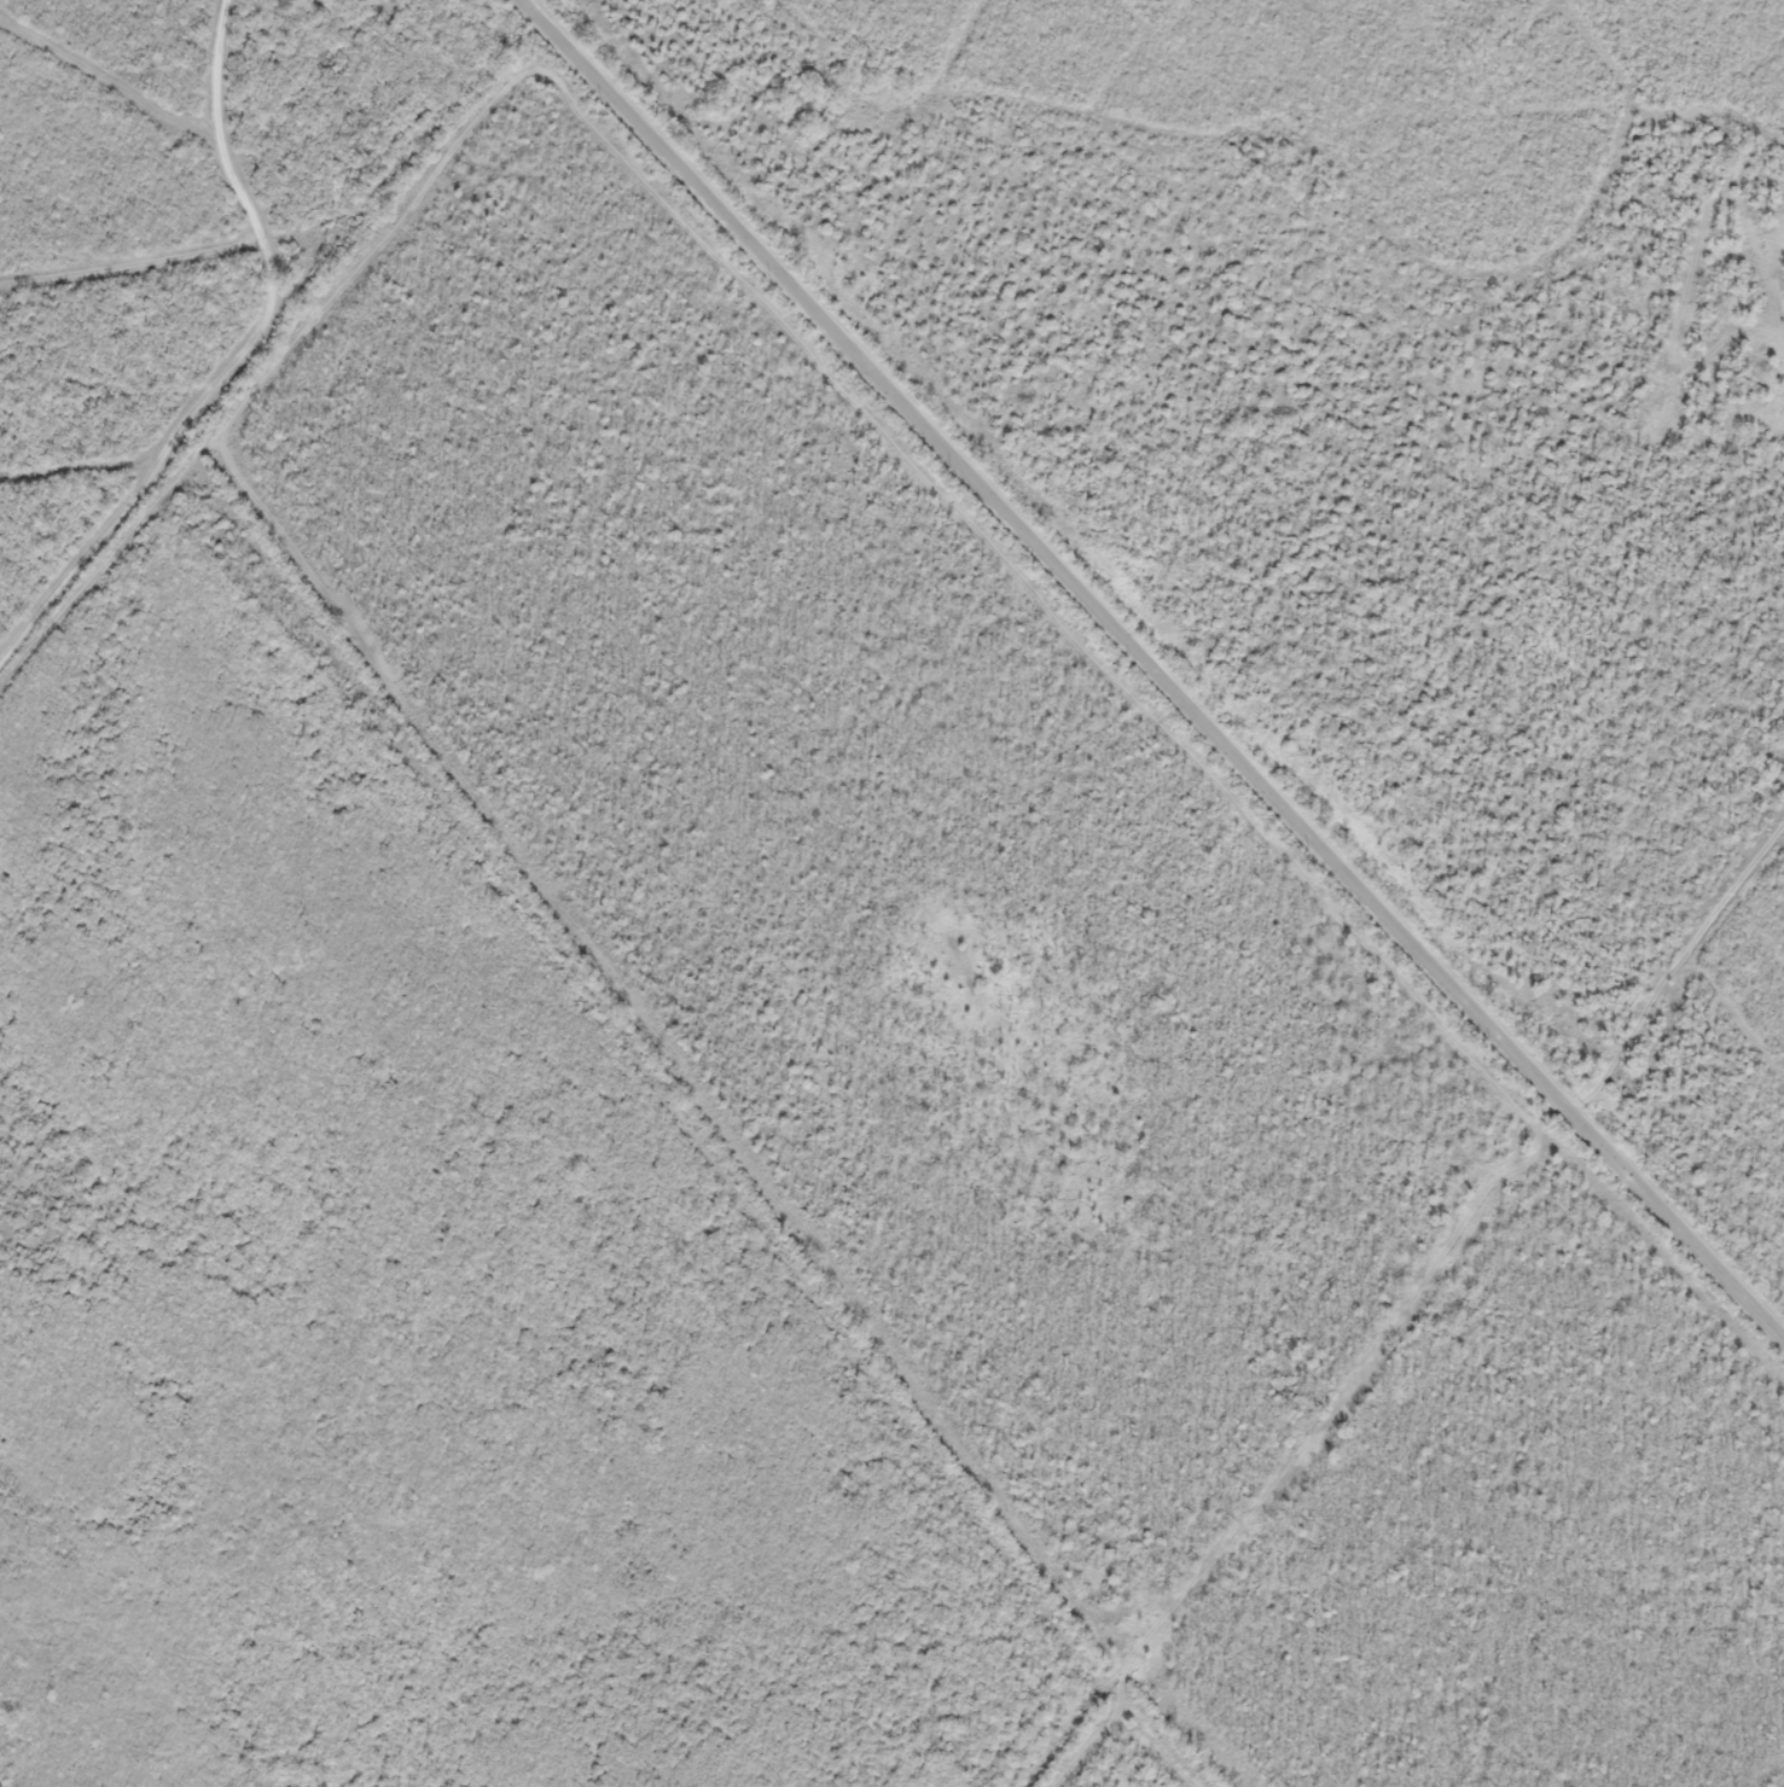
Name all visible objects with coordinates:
road: (254, 326)
road: (1154, 667)

